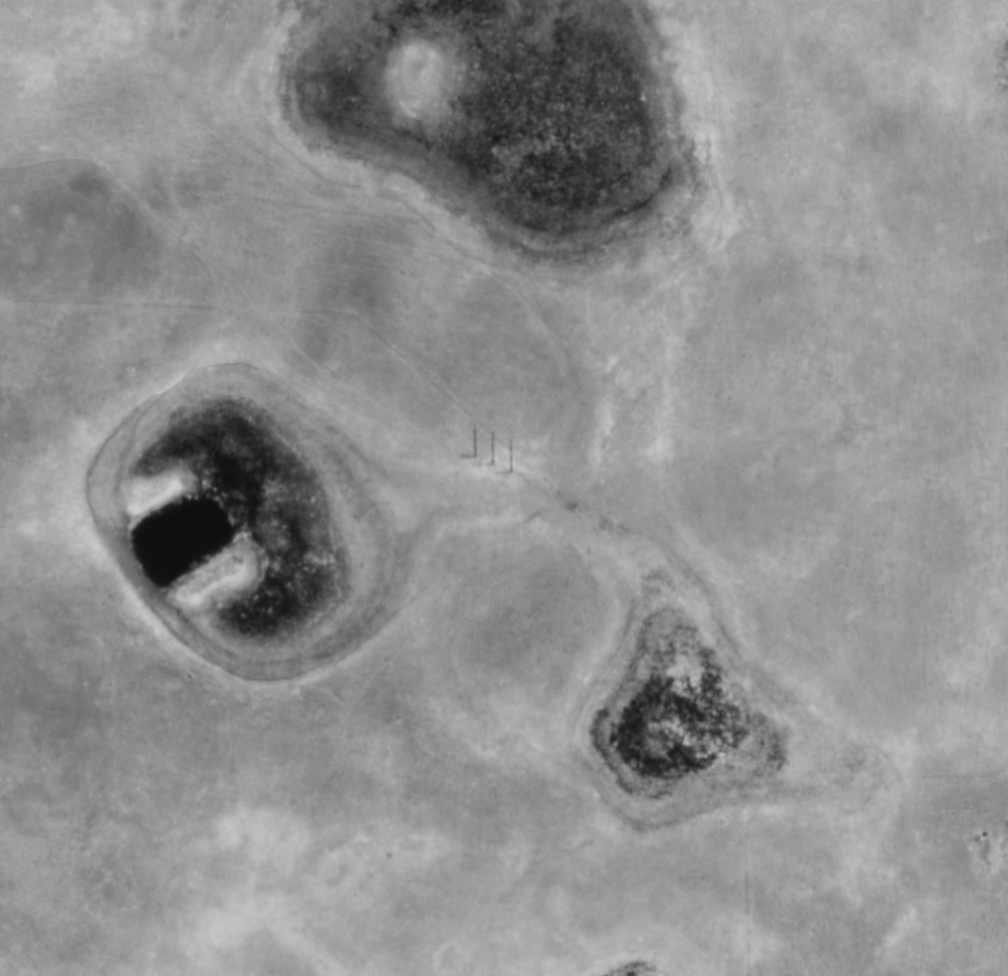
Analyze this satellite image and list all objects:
power tower: (495, 460)

